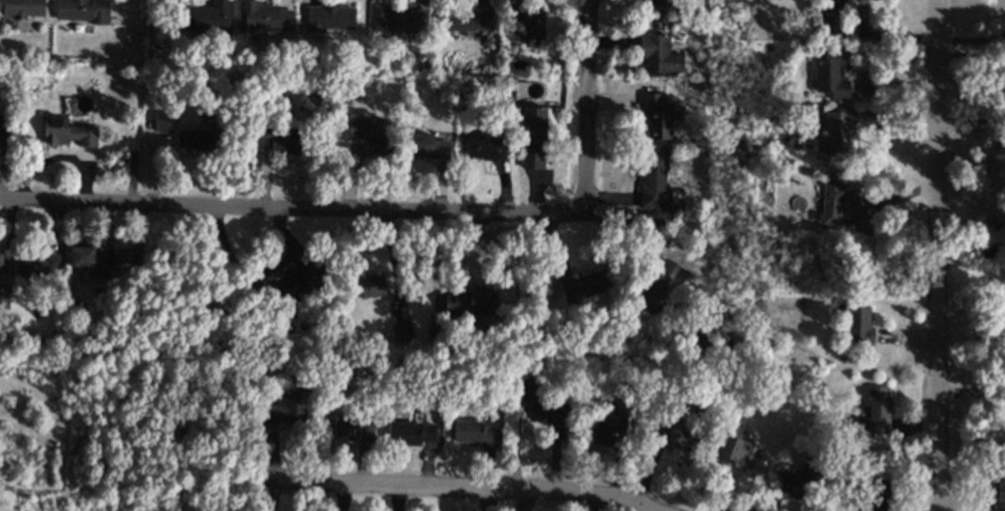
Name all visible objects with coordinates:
building: (660, 4)
building: (22, 8)
building: (82, 10)
building: (206, 16)
building: (825, 16)
building: (263, 17)
building: (329, 17)
building: (397, 19)
building: (468, 19)
building: (528, 26)
road: (971, 40)
building: (659, 55)
building: (833, 73)
road: (583, 109)
building: (656, 116)
building: (163, 121)
building: (1, 128)
building: (838, 131)
building: (67, 132)
building: (371, 132)
building: (533, 138)
building: (198, 139)
building: (280, 140)
building: (428, 146)
building: (484, 149)
building: (654, 181)
building: (837, 198)
road: (290, 209)
road: (938, 255)
building: (89, 258)
building: (1, 262)
building: (37, 265)
building: (292, 281)
building: (584, 285)
building: (661, 285)
building: (374, 286)
building: (4, 299)
building: (471, 301)
building: (858, 326)
building: (402, 332)
building: (287, 408)
building: (543, 412)
building: (874, 412)
building: (608, 425)
building: (353, 427)
building: (411, 433)
building: (473, 433)
building: (675, 436)
building: (731, 445)
building: (794, 481)
road: (452, 491)
building: (998, 492)

